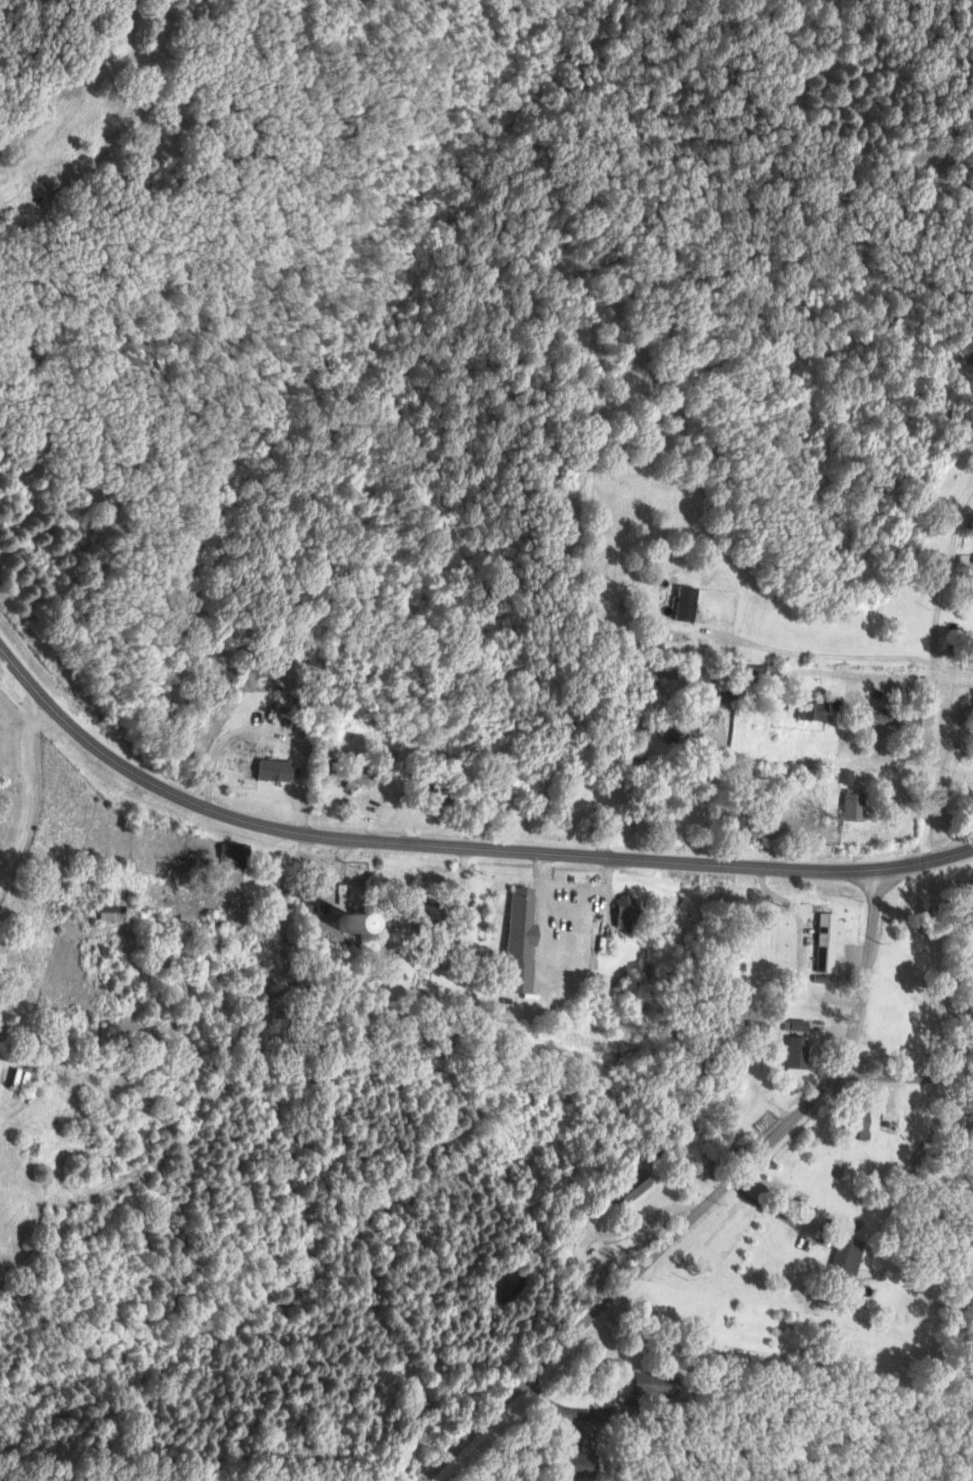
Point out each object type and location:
road: (72, 94)
building: (970, 563)
road: (937, 568)
building: (680, 603)
road: (952, 671)
road: (718, 701)
building: (803, 710)
building: (888, 720)
building: (670, 729)
road: (923, 765)
building: (275, 770)
building: (353, 778)
road: (779, 781)
road: (32, 791)
building: (845, 807)
road: (457, 845)
building: (233, 855)
road: (5, 857)
road: (328, 888)
building: (620, 910)
building: (111, 912)
building: (431, 918)
building: (365, 925)
building: (821, 941)
building: (515, 942)
building: (483, 959)
road: (553, 962)
building: (967, 975)
building: (793, 1025)
building: (751, 1033)
building: (790, 1052)
road: (938, 1057)
road: (903, 1072)
building: (849, 1125)
building: (623, 1191)
road: (698, 1205)
road: (775, 1210)
road: (606, 1235)
building: (841, 1259)
road: (549, 1406)
building: (579, 1464)

